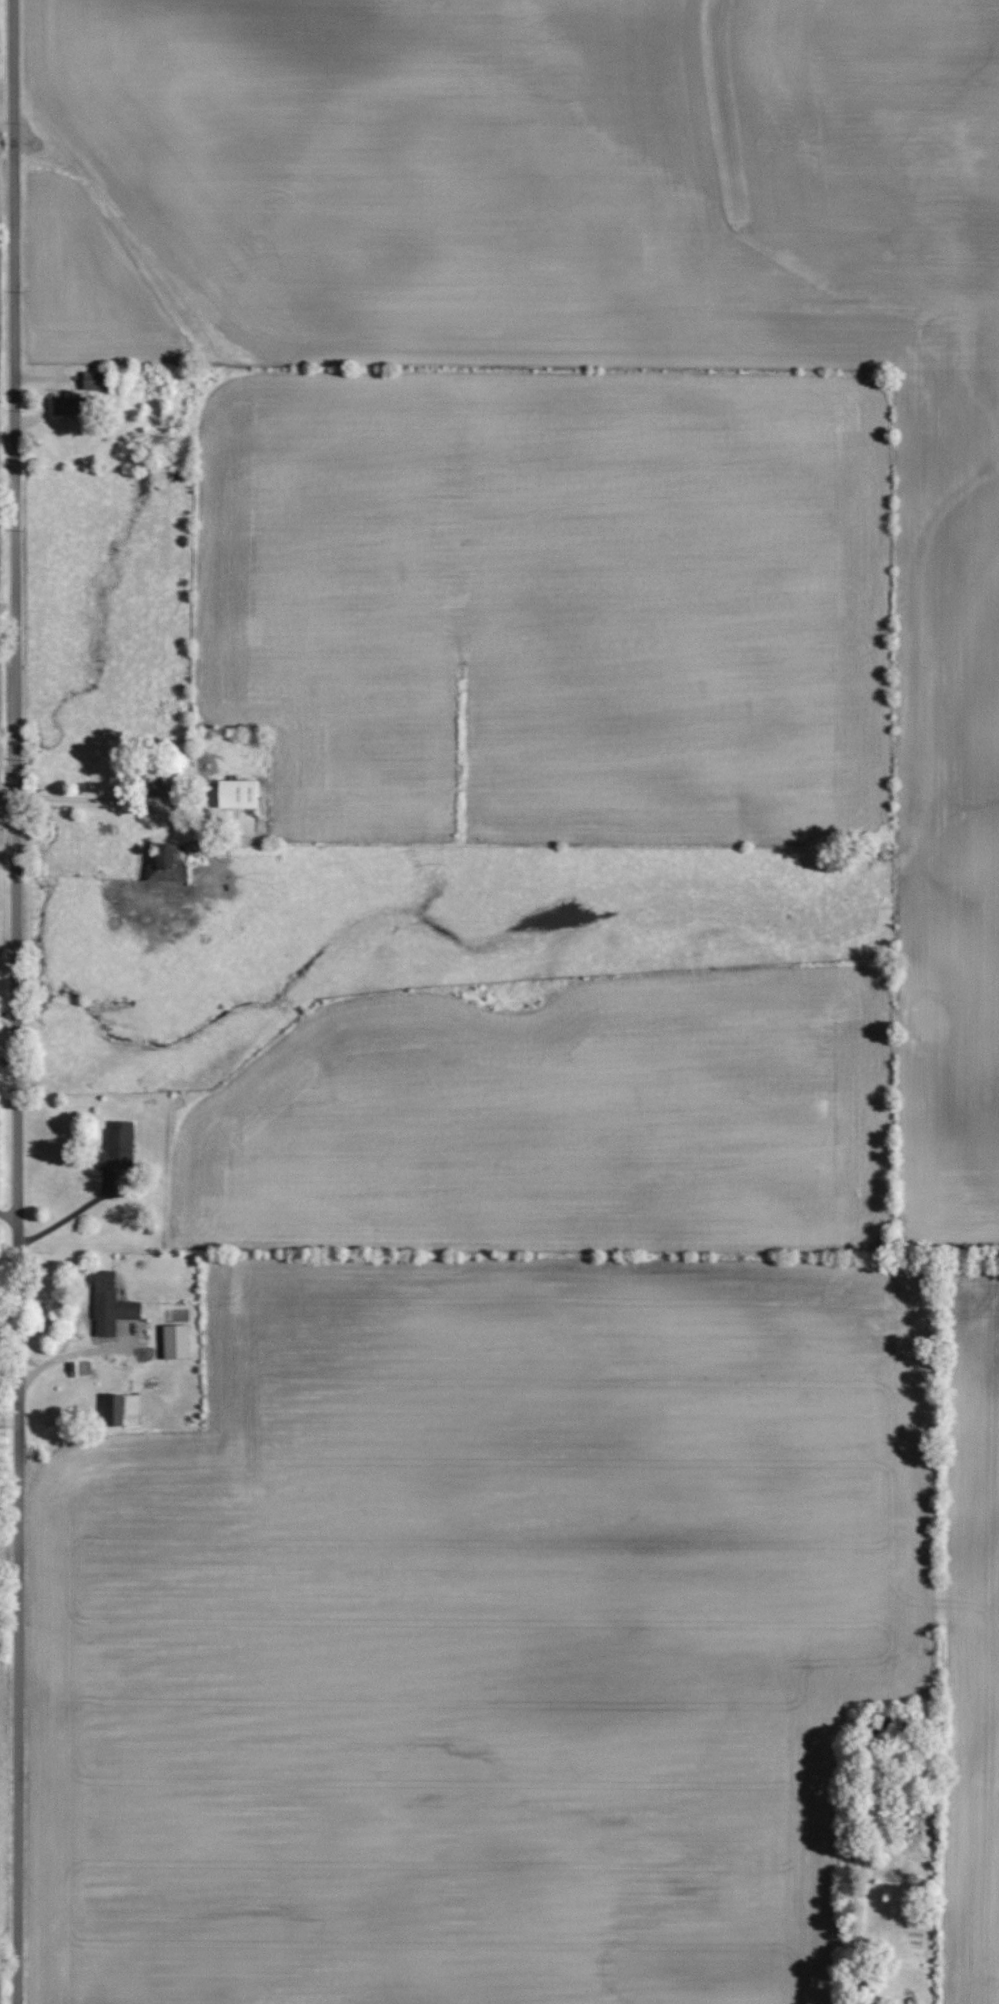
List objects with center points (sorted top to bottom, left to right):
building: (93, 381)
building: (68, 404)
building: (155, 785)
building: (236, 793)
building: (168, 864)
road: (17, 1001)
road: (9, 1058)
building: (117, 1146)
road: (71, 1214)
building: (110, 1305)
building: (175, 1341)
building: (121, 1410)

